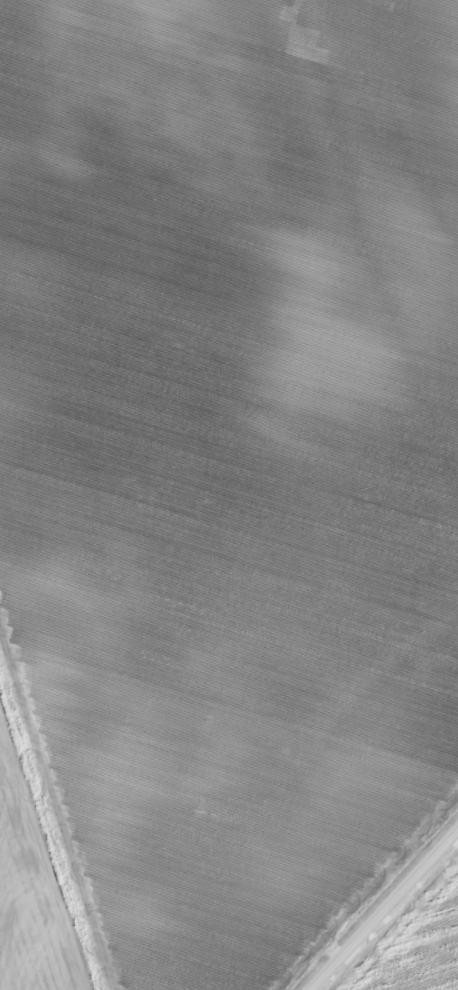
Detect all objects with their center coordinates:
road: (386, 913)

